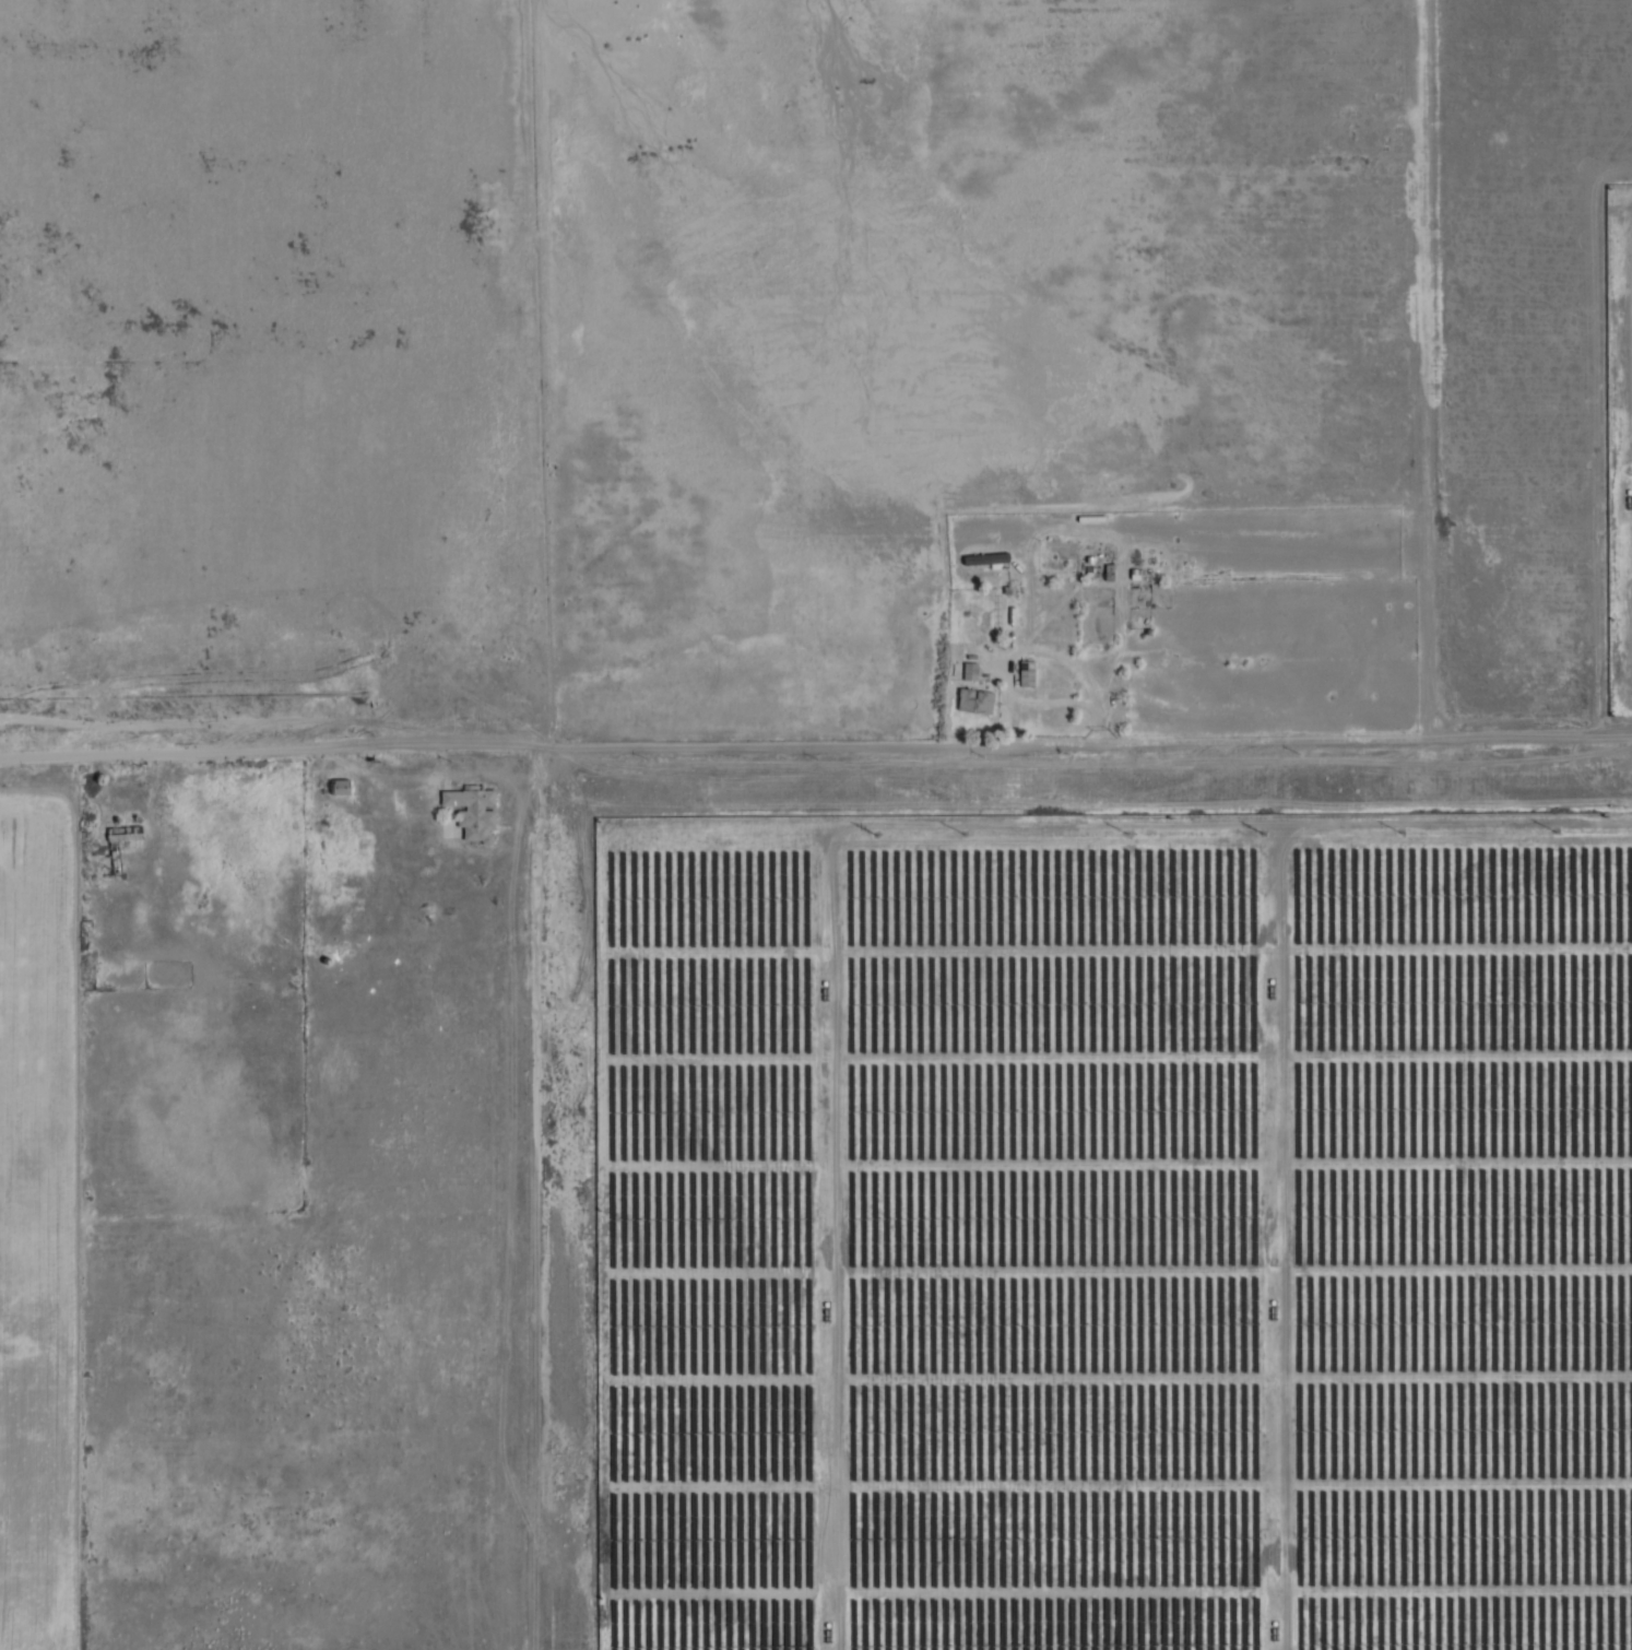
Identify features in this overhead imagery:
building: (982, 562)
building: (972, 703)
road: (815, 770)
building: (469, 814)
road: (534, 1210)

